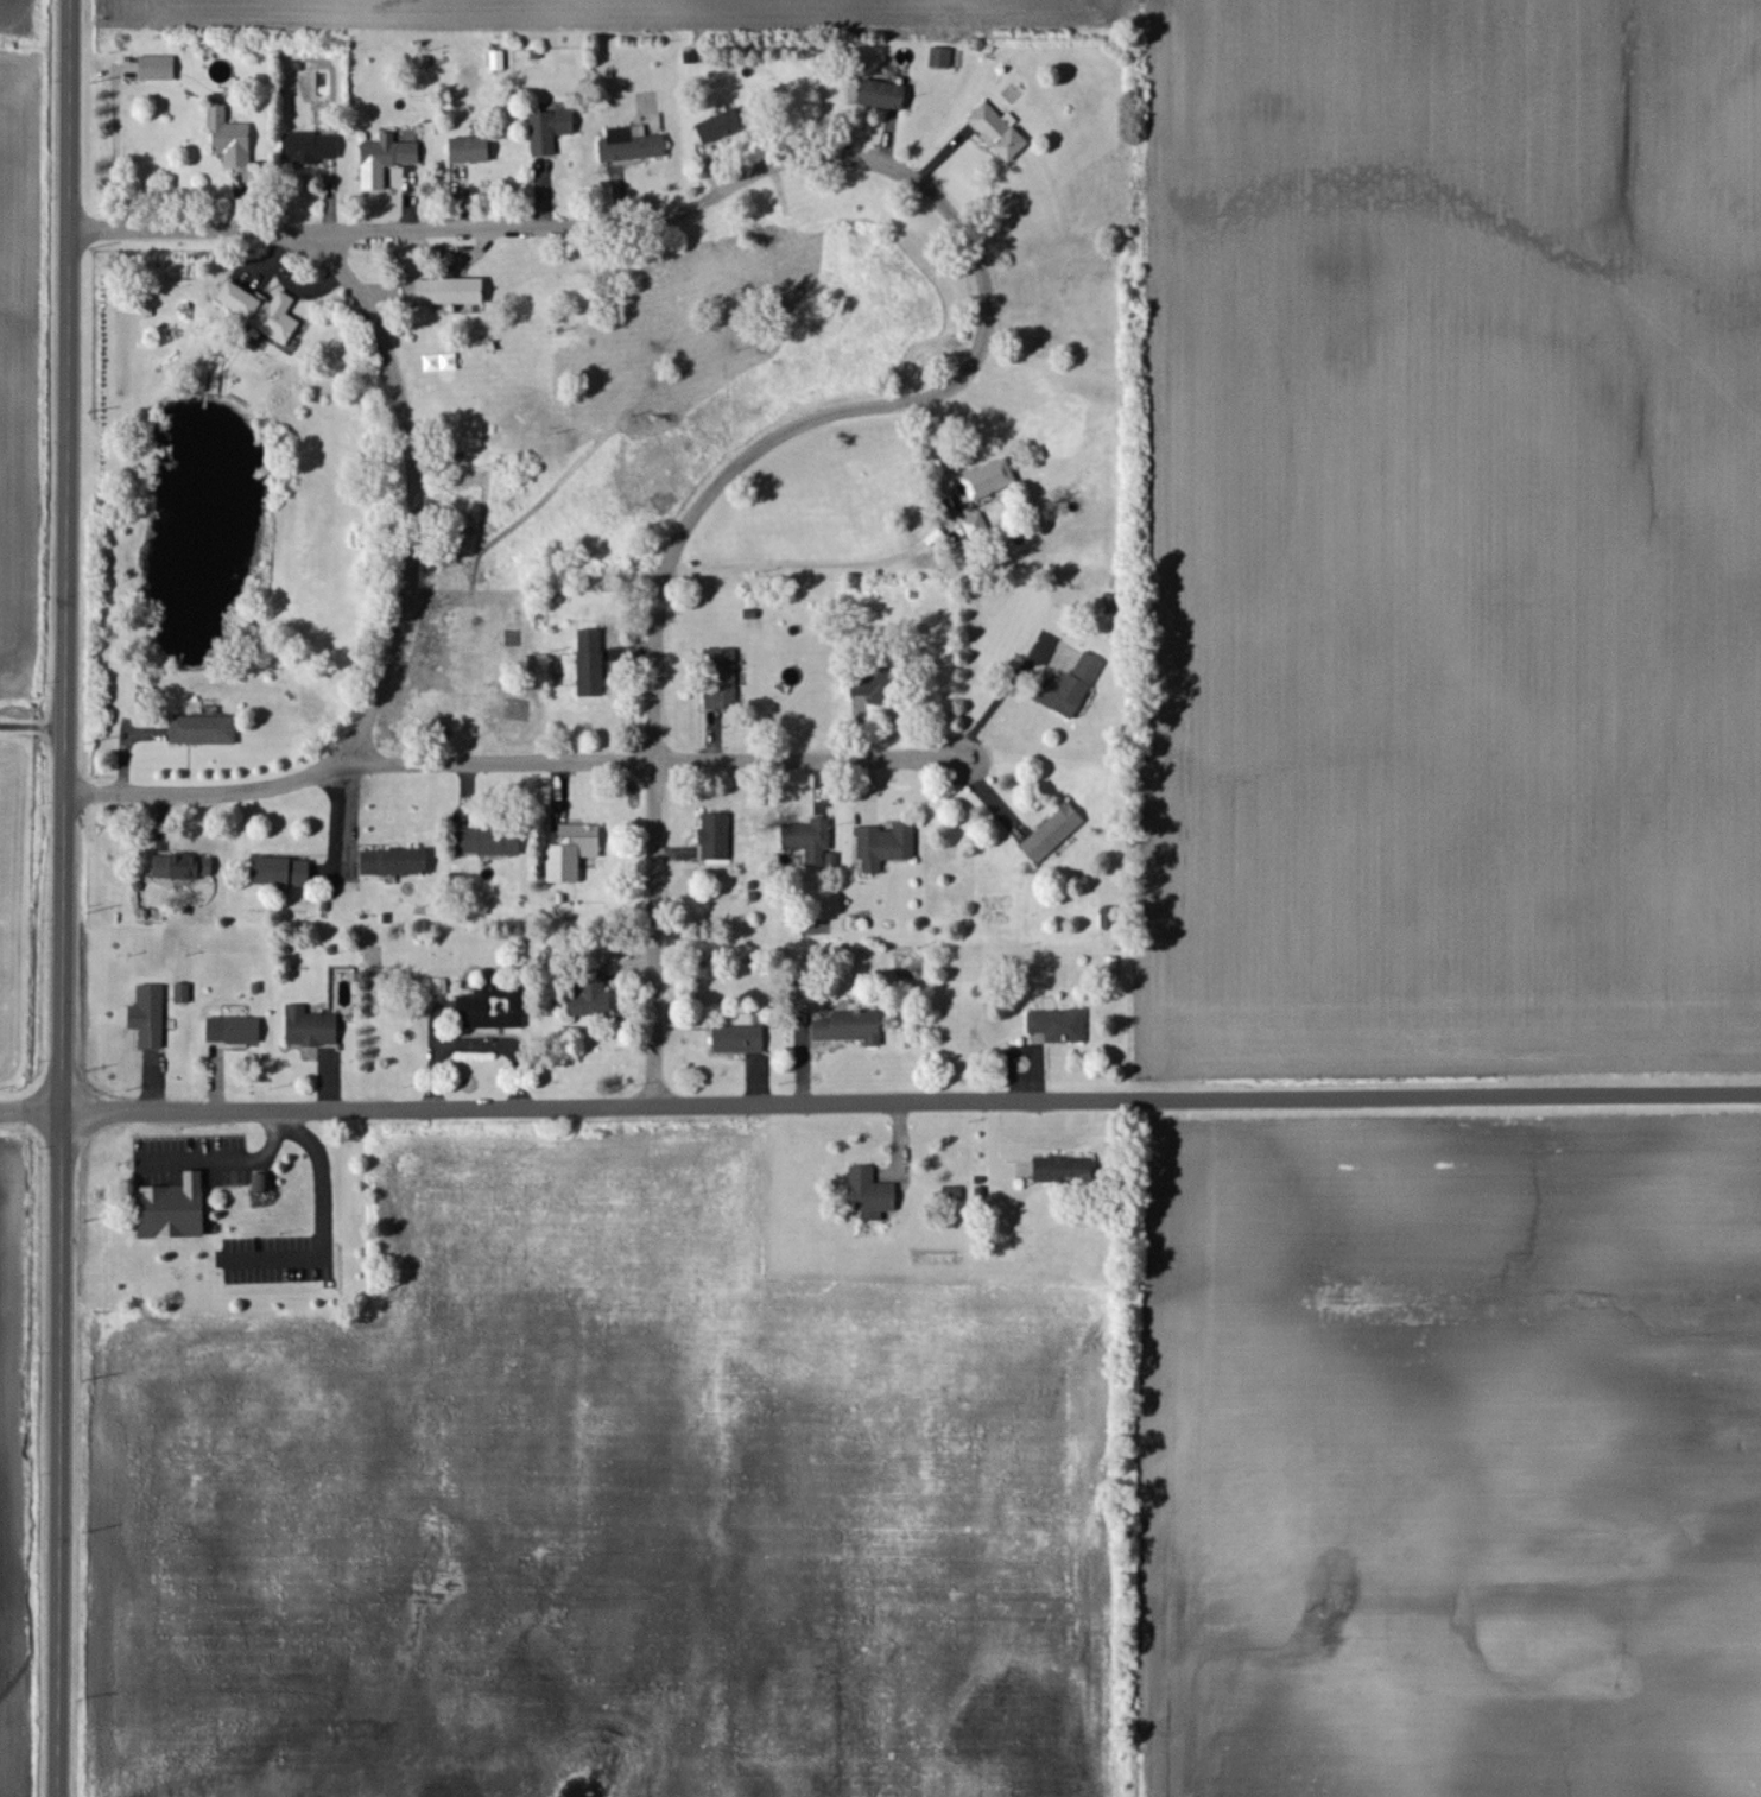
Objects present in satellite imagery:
building: (943, 58)
building: (499, 61)
building: (159, 69)
building: (886, 95)
building: (722, 127)
building: (552, 131)
building: (1001, 132)
building: (232, 139)
building: (634, 145)
building: (311, 148)
building: (473, 151)
building: (389, 158)
road: (883, 164)
building: (454, 292)
building: (264, 310)
building: (990, 480)
road: (414, 481)
building: (978, 527)
building: (593, 664)
building: (724, 679)
building: (1078, 686)
building: (872, 688)
road: (33, 726)
building: (205, 730)
road: (651, 761)
road: (214, 791)
building: (1054, 835)
building: (717, 837)
building: (492, 843)
building: (813, 843)
building: (887, 847)
building: (575, 853)
building: (397, 863)
building: (184, 868)
building: (284, 873)
road: (66, 898)
road: (657, 934)
building: (378, 976)
building: (184, 994)
building: (593, 1002)
building: (494, 1010)
building: (151, 1017)
building: (1060, 1026)
building: (312, 1029)
building: (851, 1029)
building: (235, 1031)
building: (741, 1040)
road: (880, 1103)
building: (1066, 1173)
building: (873, 1195)
building: (176, 1208)

